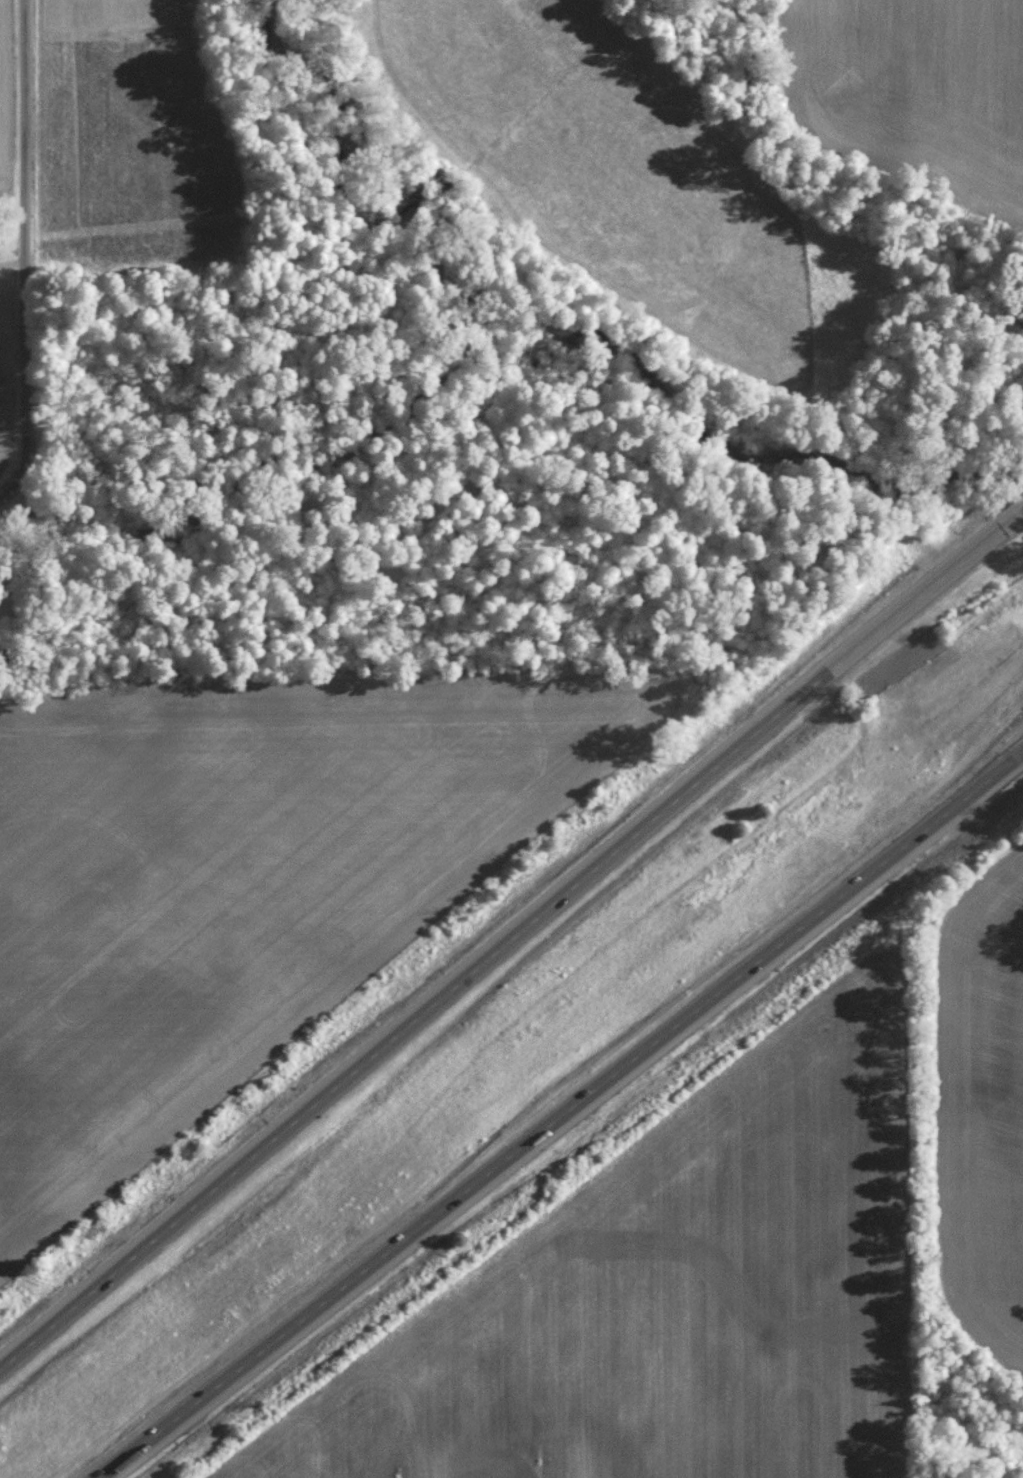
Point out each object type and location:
road: (25, 255)
road: (1013, 522)
road: (500, 945)
road: (564, 1119)

